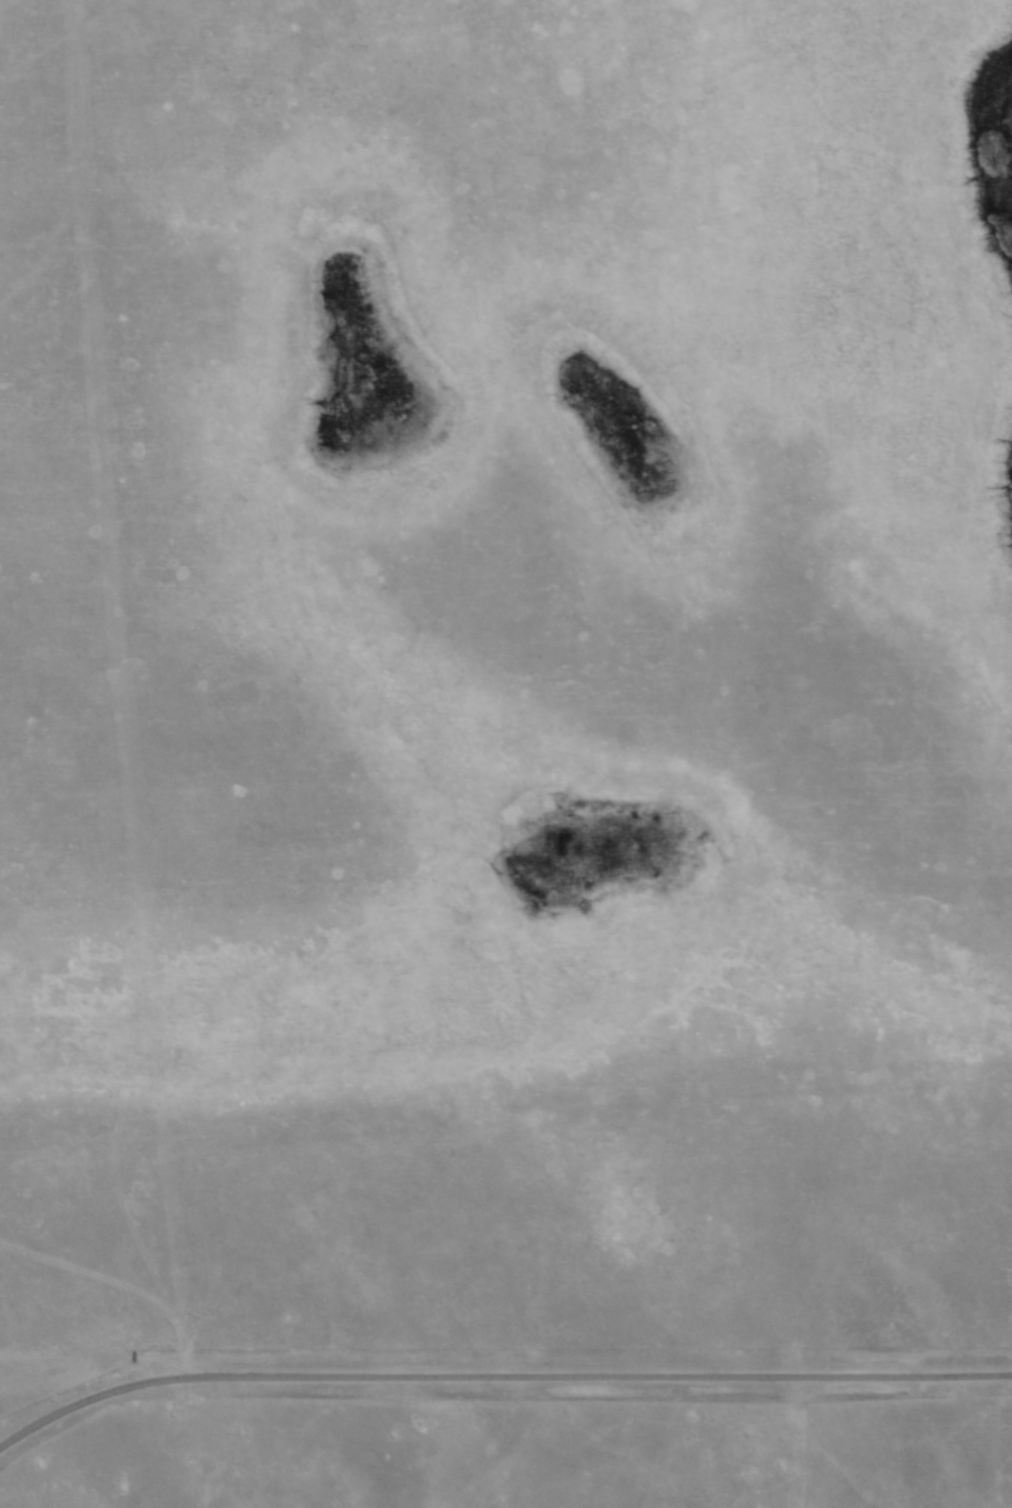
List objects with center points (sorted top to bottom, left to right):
road: (499, 1376)

